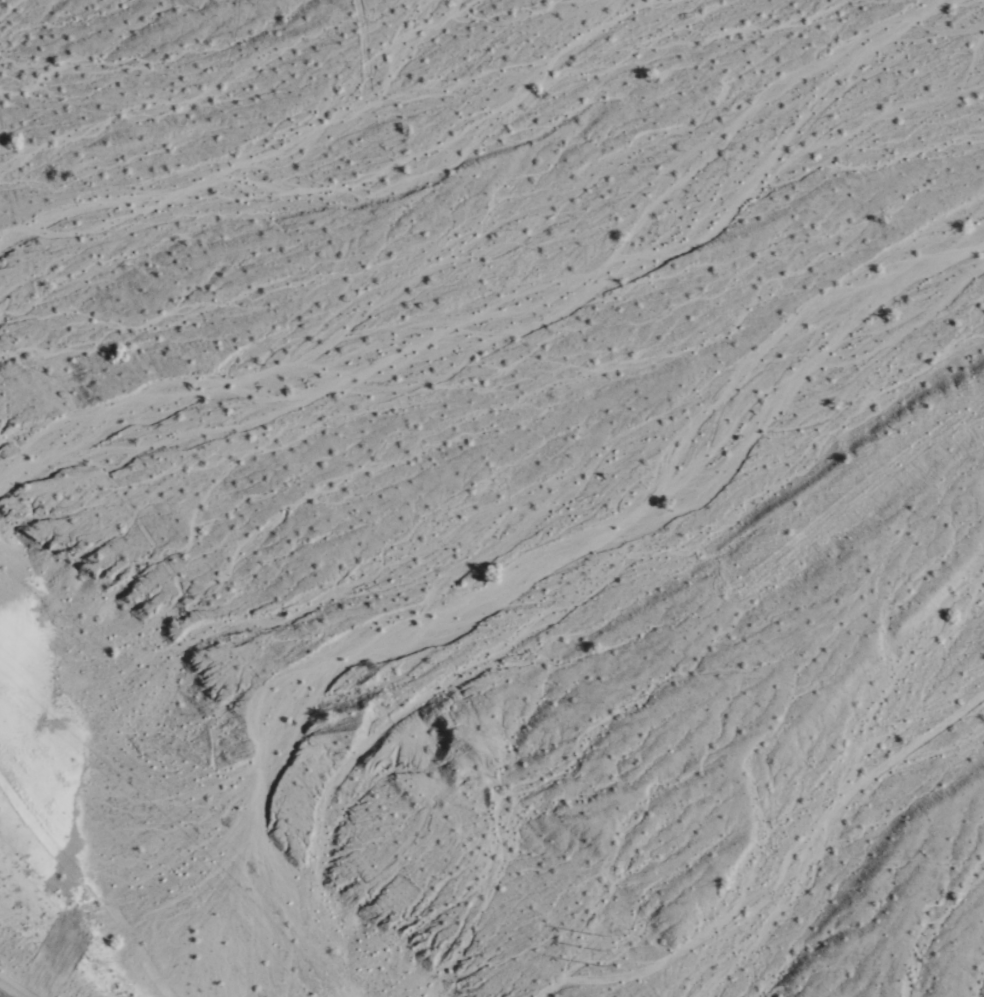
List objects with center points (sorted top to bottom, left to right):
power tower: (599, 951)

